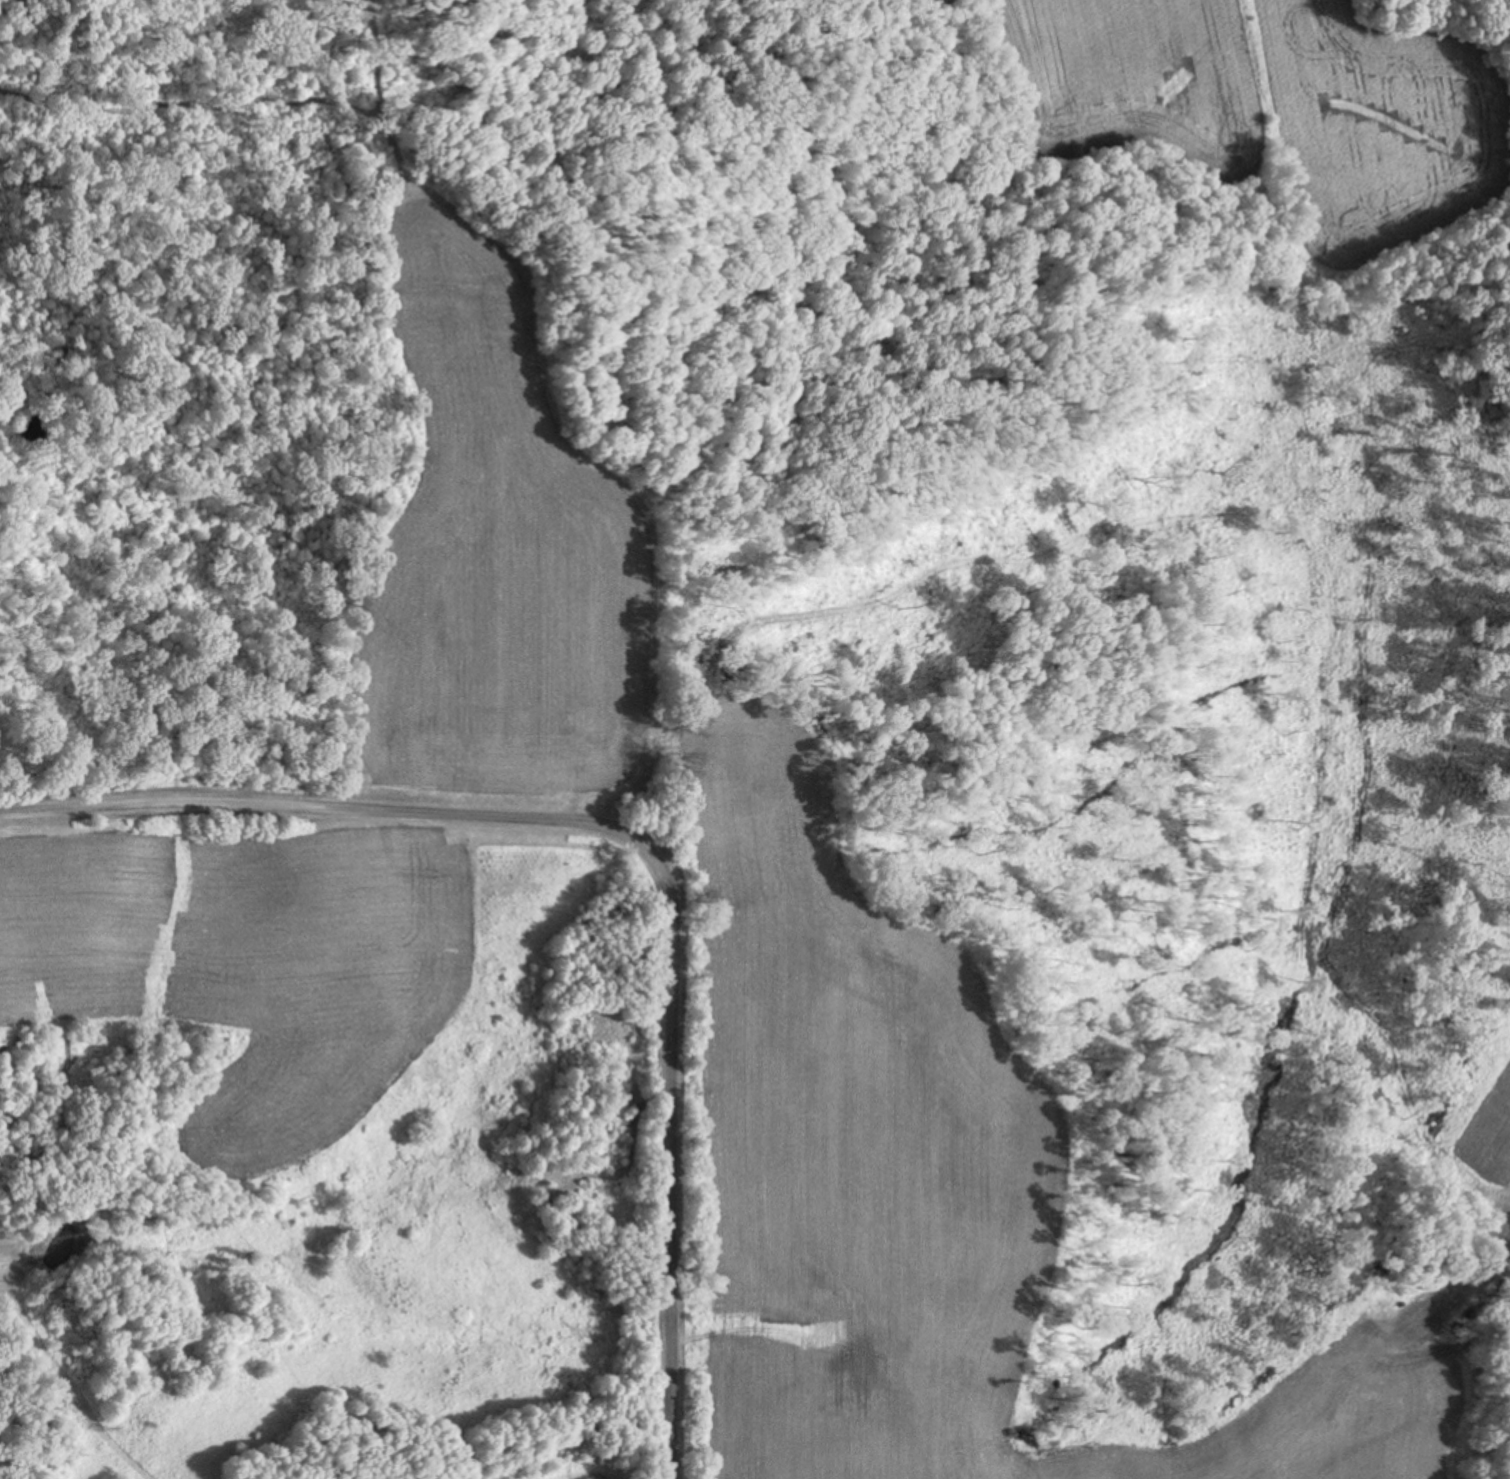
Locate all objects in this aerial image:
crop: (1254, 98)
crop: (488, 553)
road: (642, 841)
crop: (246, 944)
crop: (1487, 1139)
crop: (909, 1184)
crop: (26, 1250)
crop: (640, 1472)

